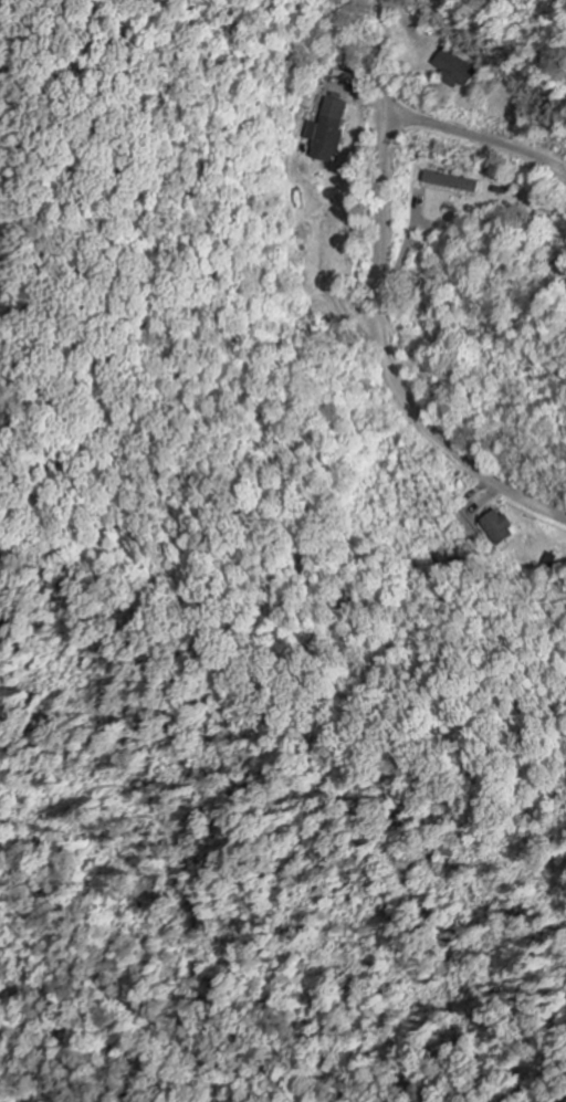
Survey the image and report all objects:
building: (455, 71)
building: (329, 132)
road: (475, 138)
building: (453, 182)
building: (467, 196)
road: (377, 304)
building: (499, 529)

